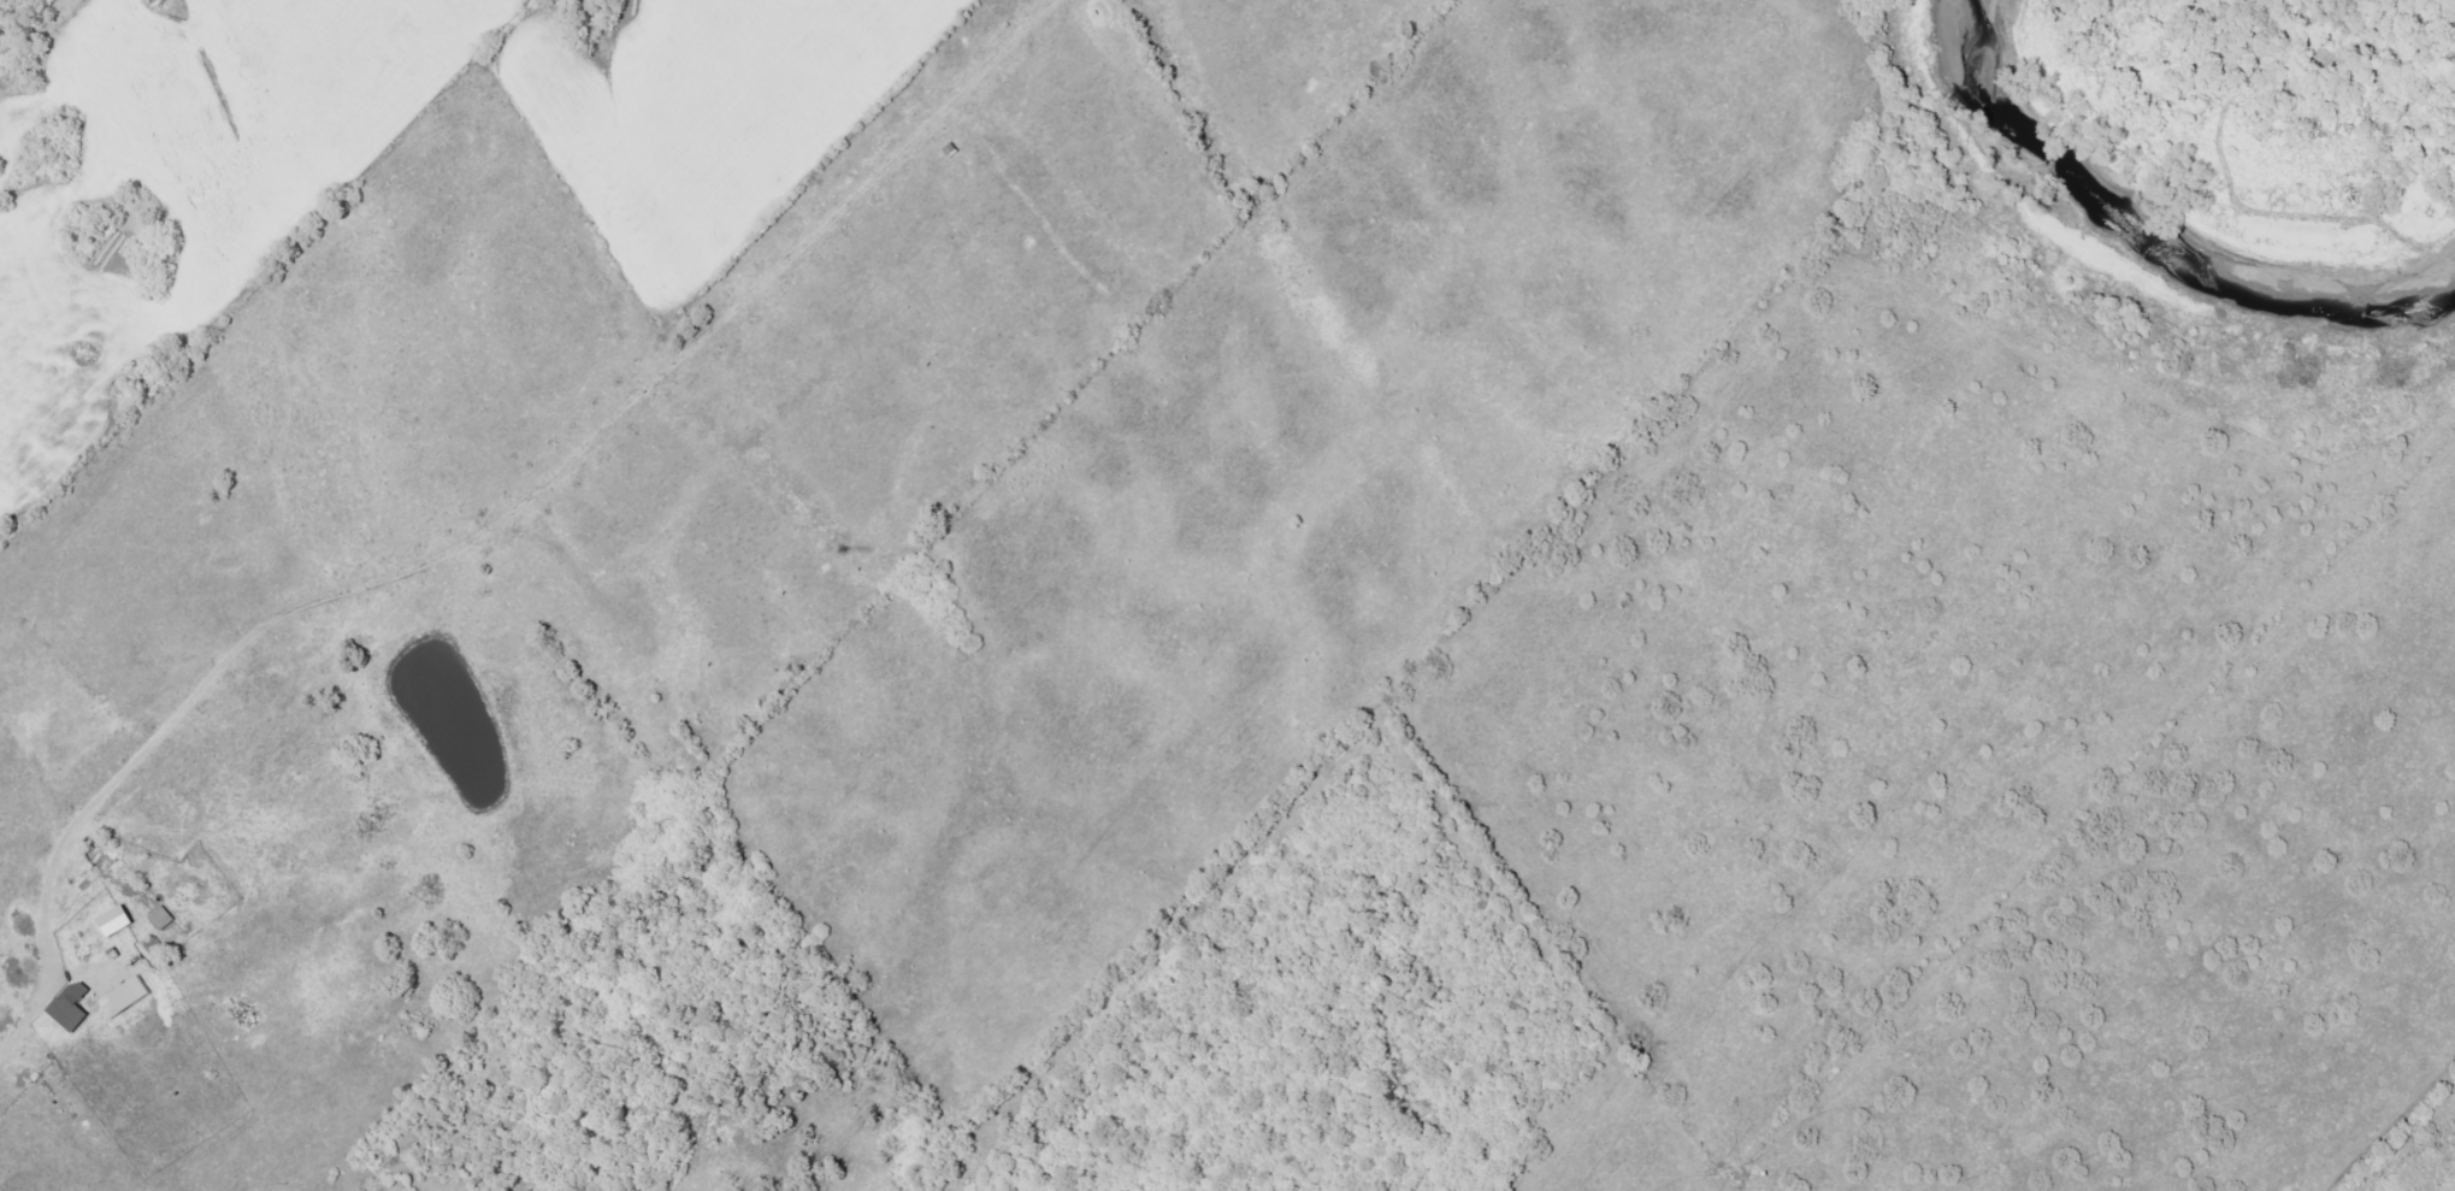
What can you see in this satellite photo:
building: (164, 918)
building: (117, 920)
building: (128, 996)
building: (72, 1007)
road: (223, 1174)

